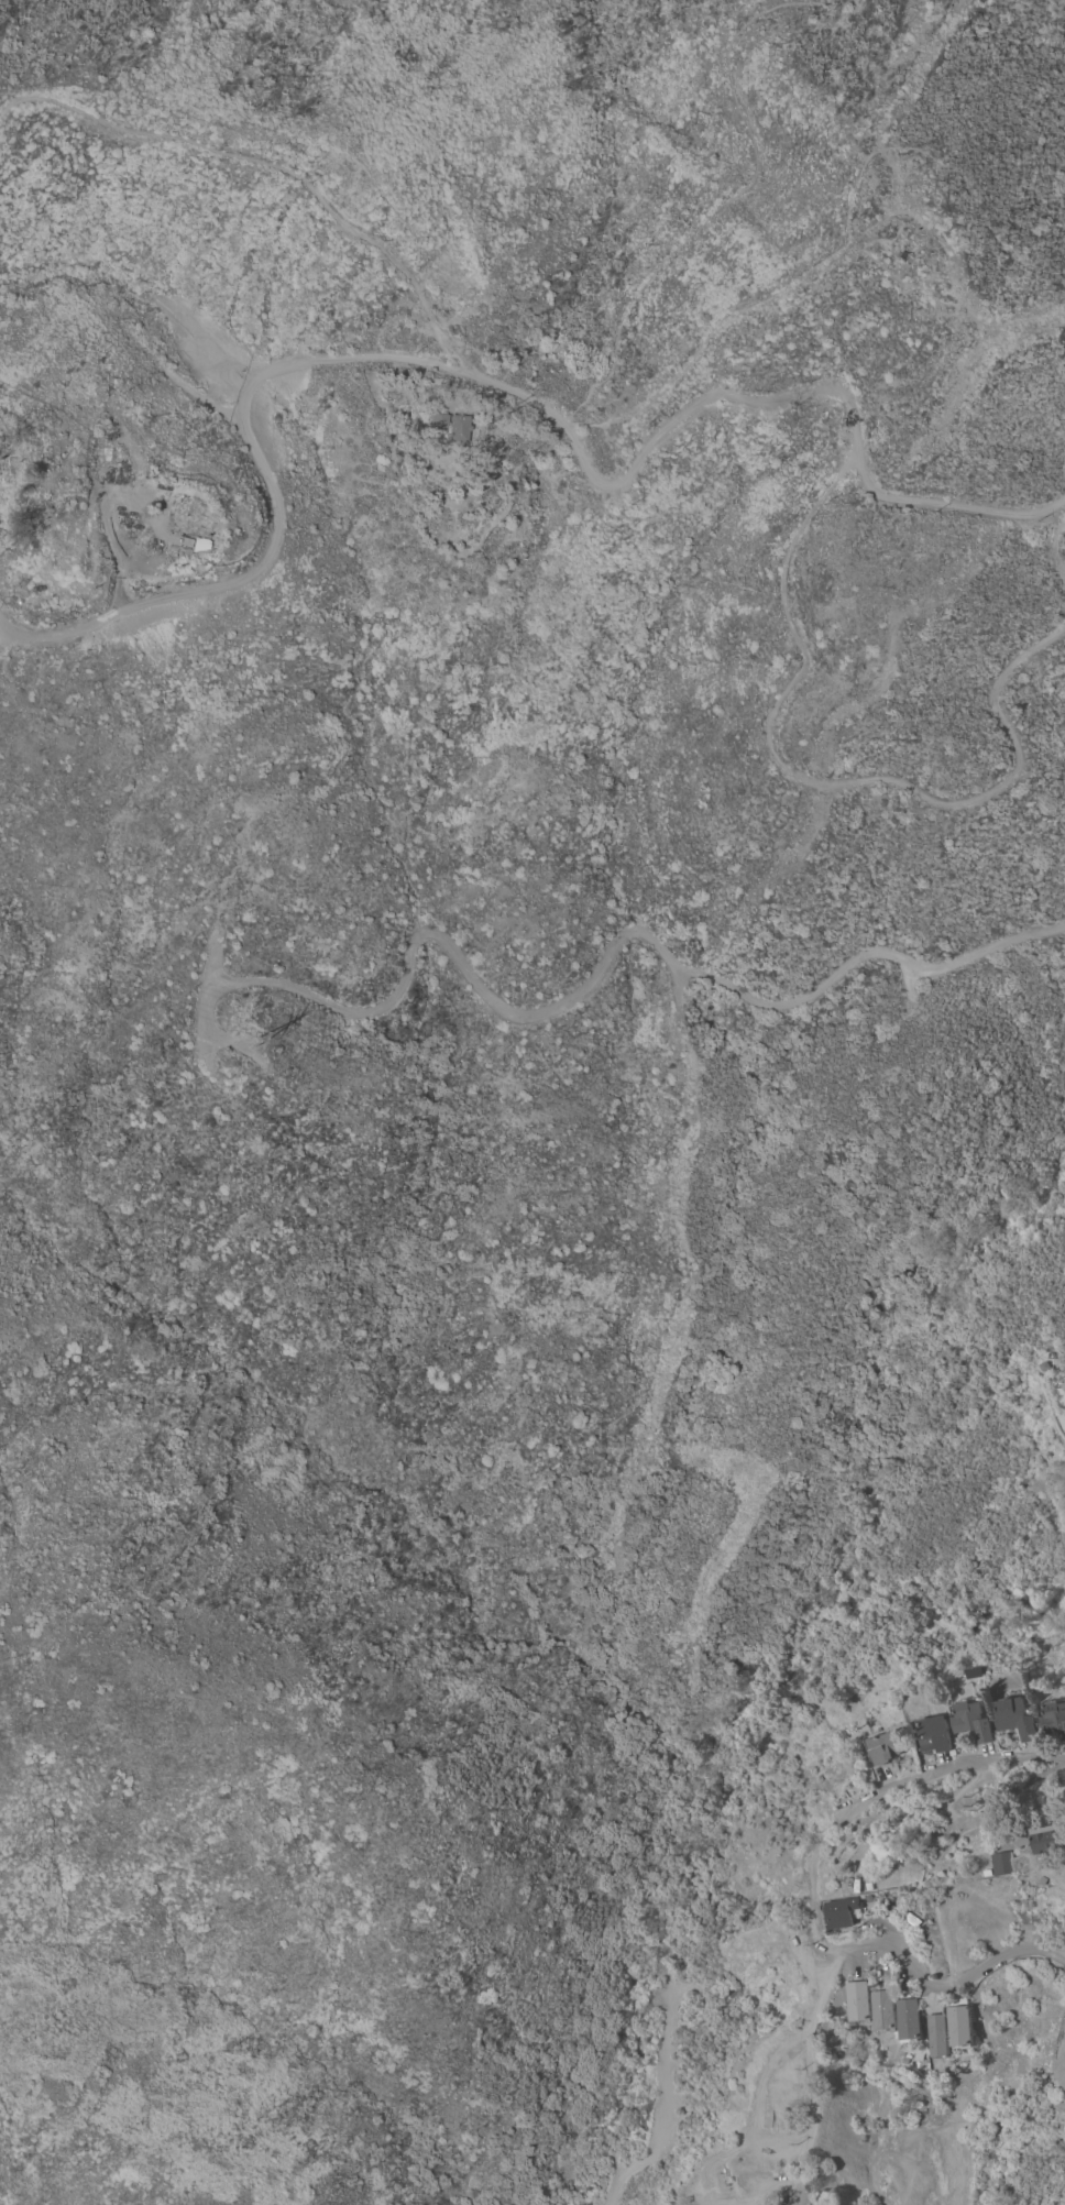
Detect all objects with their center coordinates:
road: (726, 57)
park: (251, 63)
road: (317, 141)
road: (275, 164)
road: (844, 239)
road: (641, 292)
road: (496, 384)
building: (438, 421)
building: (459, 428)
building: (111, 436)
building: (101, 456)
building: (4, 460)
building: (129, 475)
building: (191, 522)
road: (105, 523)
road: (1052, 549)
road: (815, 780)
road: (607, 955)
road: (204, 991)
power tower: (249, 1031)
building: (1062, 1381)
building: (1053, 1718)
building: (1015, 1719)
building: (973, 1721)
building: (934, 1734)
building: (885, 1747)
road: (957, 1765)
building: (1051, 1839)
building: (896, 1854)
building: (1009, 1863)
road: (819, 1885)
building: (918, 1886)
building: (852, 1911)
road: (956, 1987)
road: (833, 1992)
building: (866, 2003)
building: (891, 2011)
building: (915, 2020)
building: (964, 2027)
building: (943, 2036)
building: (908, 2060)
road: (666, 2107)
road: (760, 2120)
road: (817, 2137)
road: (701, 2194)

